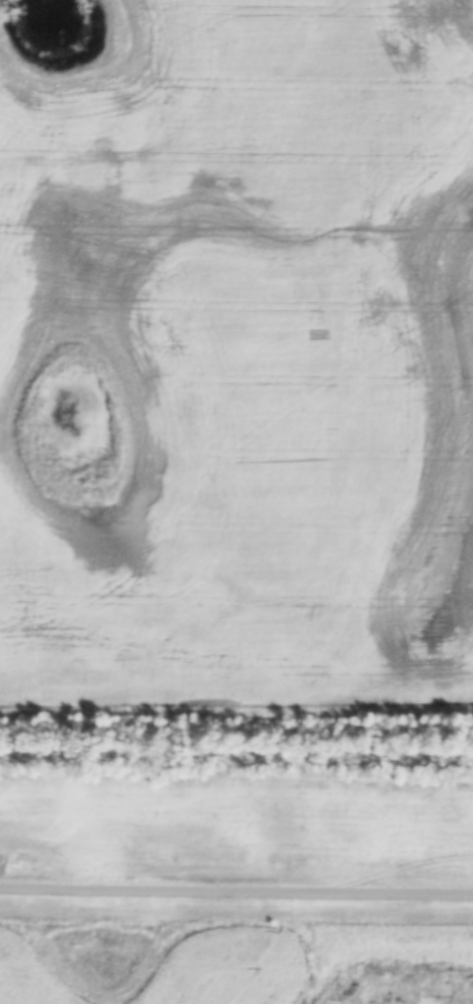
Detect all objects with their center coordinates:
road: (236, 896)

